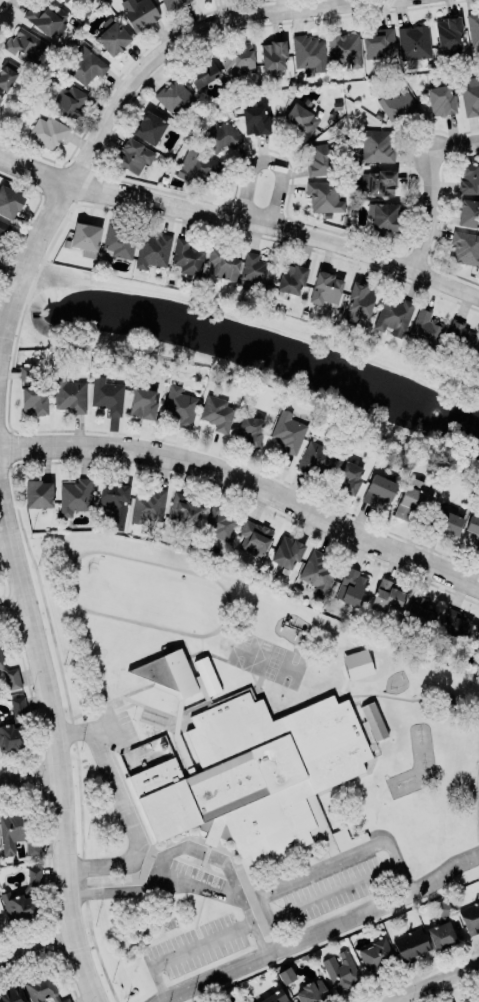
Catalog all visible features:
building: (64, 0)
building: (172, 3)
building: (140, 13)
building: (47, 18)
building: (473, 28)
building: (449, 31)
building: (113, 37)
road: (184, 38)
building: (414, 41)
building: (378, 42)
building: (22, 44)
building: (345, 47)
building: (309, 51)
building: (274, 54)
building: (238, 58)
building: (86, 65)
building: (202, 71)
building: (8, 74)
building: (471, 95)
building: (1, 98)
building: (177, 99)
building: (441, 99)
building: (67, 101)
building: (397, 104)
building: (255, 119)
building: (302, 119)
building: (150, 127)
building: (49, 130)
building: (220, 136)
building: (376, 144)
building: (135, 154)
road: (269, 159)
building: (319, 159)
building: (197, 167)
building: (469, 179)
building: (381, 182)
road: (430, 185)
building: (324, 195)
building: (10, 201)
building: (469, 212)
building: (383, 215)
road: (241, 217)
building: (2, 226)
building: (85, 237)
building: (119, 240)
building: (466, 246)
building: (152, 249)
building: (187, 256)
building: (224, 261)
road: (26, 262)
building: (257, 269)
building: (292, 278)
building: (326, 288)
building: (359, 301)
building: (393, 314)
building: (426, 324)
building: (460, 335)
building: (477, 357)
building: (28, 372)
building: (70, 394)
building: (107, 394)
building: (33, 399)
building: (143, 402)
building: (180, 405)
building: (217, 411)
building: (249, 430)
building: (288, 430)
building: (316, 457)
building: (347, 476)
road: (248, 479)
building: (379, 489)
building: (38, 493)
building: (75, 496)
building: (409, 501)
building: (115, 502)
building: (148, 504)
building: (218, 522)
building: (448, 522)
building: (473, 524)
building: (254, 537)
building: (477, 545)
building: (287, 551)
building: (318, 571)
building: (351, 586)
building: (388, 596)
road: (13, 606)
building: (419, 612)
building: (454, 623)
building: (477, 635)
building: (478, 662)
building: (357, 663)
building: (169, 672)
building: (205, 676)
building: (10, 677)
building: (445, 704)
road: (109, 713)
building: (180, 719)
building: (372, 723)
parking lot: (119, 724)
building: (13, 725)
road: (116, 730)
road: (58, 748)
road: (29, 773)
building: (252, 773)
road: (124, 807)
building: (15, 833)
building: (324, 837)
building: (210, 838)
road: (197, 847)
road: (321, 866)
parking lot: (195, 878)
road: (185, 884)
parking lot: (332, 890)
road: (334, 890)
building: (23, 896)
building: (442, 907)
building: (470, 917)
road: (321, 930)
building: (441, 933)
building: (410, 942)
road: (36, 944)
parking lot: (195, 944)
road: (184, 950)
building: (376, 955)
building: (340, 970)
building: (286, 975)
road: (435, 982)
building: (42, 987)
building: (310, 990)
building: (12, 993)
building: (275, 997)
building: (469, 998)
building: (449, 1001)

